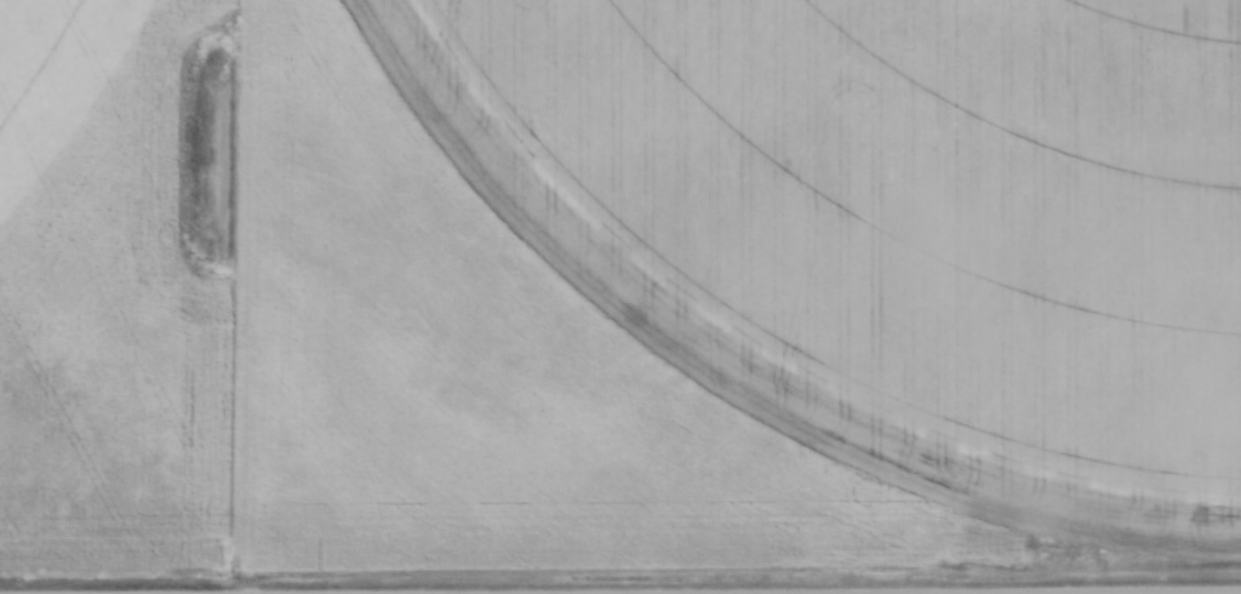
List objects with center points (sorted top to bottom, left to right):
road: (1071, 593)

